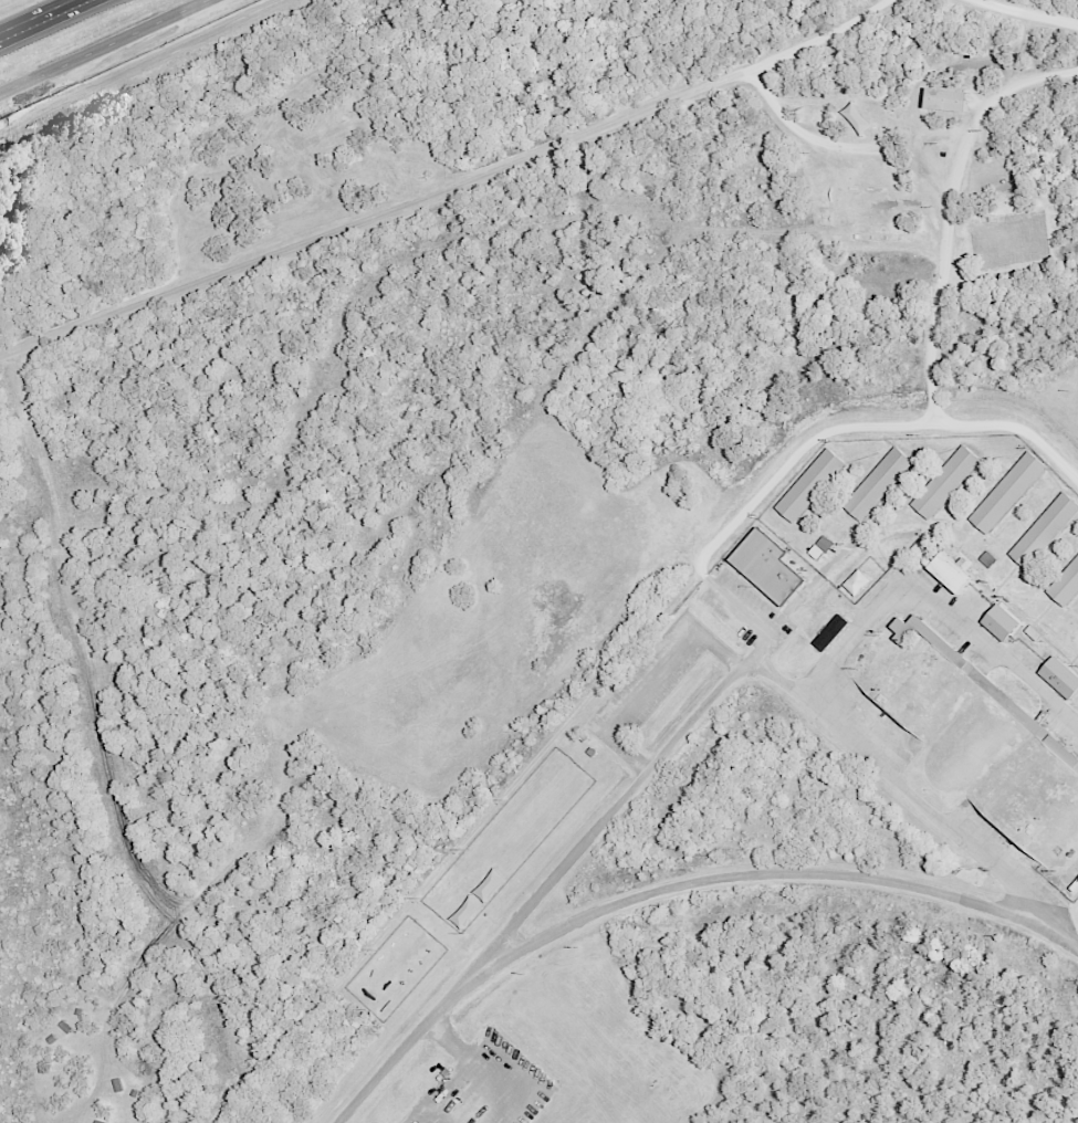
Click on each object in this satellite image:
road: (1023, 13)
road: (35, 15)
road: (102, 46)
road: (143, 66)
building: (946, 99)
building: (857, 118)
road: (847, 145)
road: (450, 191)
road: (948, 212)
road: (873, 430)
building: (945, 482)
building: (878, 483)
building: (810, 485)
building: (1007, 492)
building: (1045, 529)
building: (820, 547)
building: (986, 559)
building: (767, 565)
building: (950, 573)
building: (857, 581)
building: (1066, 584)
road: (938, 608)
road: (740, 609)
building: (1001, 622)
building: (831, 632)
road: (734, 673)
building: (1060, 676)
road: (648, 679)
building: (981, 682)
road: (119, 760)
road: (674, 888)
building: (477, 895)

